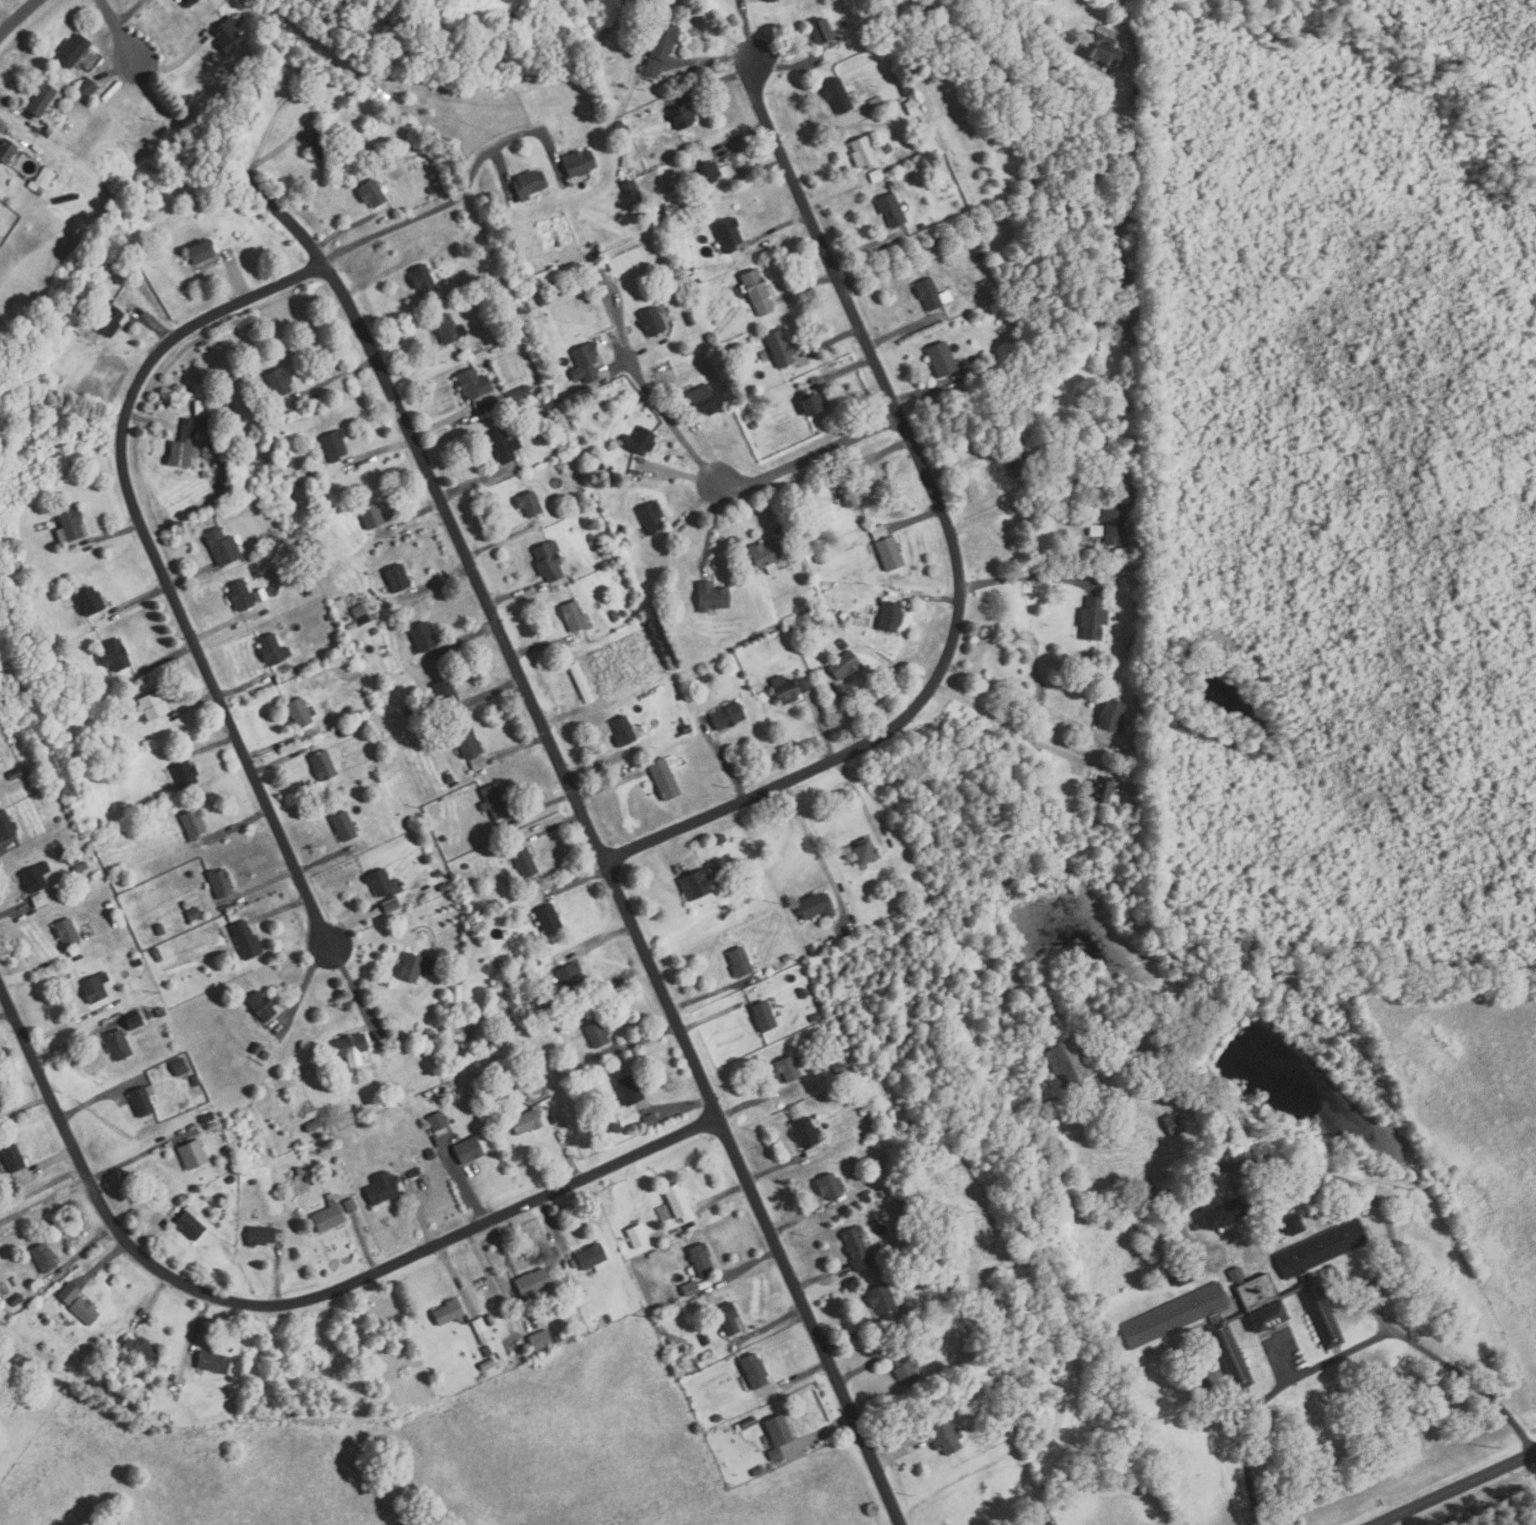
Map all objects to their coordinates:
building: (755, 0)
building: (773, 0)
building: (189, 2)
road: (129, 12)
road: (17, 16)
road: (5, 18)
road: (117, 28)
road: (746, 30)
building: (823, 31)
building: (229, 36)
building: (664, 41)
building: (74, 50)
building: (1103, 50)
road: (714, 58)
road: (176, 63)
road: (788, 65)
road: (117, 69)
building: (652, 69)
road: (713, 84)
building: (87, 86)
building: (908, 87)
building: (839, 95)
building: (42, 98)
road: (285, 101)
building: (877, 102)
road: (14, 107)
building: (913, 108)
building: (685, 117)
road: (3, 125)
building: (622, 127)
road: (530, 129)
road: (816, 130)
road: (741, 139)
road: (1059, 141)
building: (319, 144)
building: (7, 150)
building: (867, 153)
building: (580, 163)
road: (748, 171)
road: (504, 172)
building: (709, 173)
building: (42, 180)
building: (530, 184)
building: (630, 187)
building: (434, 189)
road: (836, 190)
building: (373, 193)
building: (892, 210)
road: (418, 215)
building: (667, 215)
road: (1089, 218)
road: (777, 226)
building: (922, 226)
road: (345, 229)
building: (565, 233)
building: (730, 234)
road: (931, 243)
road: (863, 248)
building: (202, 252)
building: (979, 253)
building: (110, 271)
building: (556, 272)
road: (237, 274)
road: (379, 276)
building: (423, 279)
building: (695, 279)
road: (807, 287)
building: (758, 291)
building: (929, 293)
building: (542, 299)
building: (524, 306)
building: (691, 319)
building: (110, 320)
building: (653, 321)
building: (1121, 322)
road: (151, 323)
building: (449, 329)
road: (903, 330)
building: (713, 337)
road: (830, 343)
road: (647, 347)
building: (781, 348)
building: (689, 350)
building: (1139, 354)
building: (943, 359)
building: (586, 363)
road: (420, 366)
road: (620, 367)
road: (840, 370)
road: (333, 378)
building: (281, 380)
building: (475, 384)
road: (922, 391)
building: (520, 394)
building: (705, 400)
building: (814, 404)
building: (226, 409)
road: (449, 417)
road: (149, 420)
building: (192, 420)
road: (667, 423)
building: (754, 425)
building: (189, 430)
building: (642, 441)
building: (214, 443)
building: (335, 444)
building: (505, 446)
road: (380, 450)
road: (709, 450)
building: (182, 451)
road: (879, 456)
road: (810, 457)
road: (968, 458)
building: (1018, 460)
building: (222, 463)
road: (669, 470)
building: (206, 473)
building: (1138, 476)
road: (469, 483)
building: (852, 494)
building: (1139, 498)
building: (530, 502)
road: (752, 508)
road: (1015, 511)
road: (417, 514)
building: (372, 515)
building: (650, 516)
road: (917, 517)
building: (72, 522)
building: (1116, 523)
road: (709, 528)
building: (621, 529)
building: (880, 531)
road: (111, 535)
building: (1136, 537)
road: (499, 542)
road: (952, 542)
building: (223, 546)
building: (603, 546)
building: (770, 552)
building: (891, 552)
building: (824, 556)
building: (550, 560)
road: (159, 563)
road: (191, 574)
building: (399, 577)
road: (1025, 577)
road: (439, 582)
building: (308, 590)
road: (514, 593)
building: (241, 594)
building: (54, 596)
building: (713, 596)
road: (926, 596)
building: (91, 600)
road: (131, 602)
building: (360, 610)
building: (624, 612)
building: (575, 615)
building: (615, 615)
building: (892, 615)
building: (329, 616)
building: (1094, 617)
building: (364, 619)
road: (226, 625)
building: (374, 630)
building: (424, 635)
road: (469, 636)
building: (844, 642)
road: (537, 646)
building: (272, 649)
building: (117, 654)
road: (166, 659)
building: (846, 664)
building: (303, 667)
building: (582, 682)
road: (244, 686)
building: (790, 687)
building: (446, 691)
road: (494, 692)
road: (1022, 697)
road: (195, 702)
building: (154, 704)
road: (843, 705)
building: (349, 709)
building: (300, 711)
building: (1112, 713)
building: (730, 715)
road: (561, 716)
road: (822, 726)
building: (348, 730)
building: (624, 730)
road: (1026, 734)
building: (470, 742)
road: (217, 744)
road: (269, 748)
road: (519, 748)
road: (722, 757)
road: (281, 760)
building: (478, 763)
building: (324, 765)
road: (590, 767)
building: (186, 772)
building: (14, 774)
building: (450, 778)
building: (665, 778)
road: (609, 786)
building: (1103, 789)
road: (858, 798)
building: (496, 801)
road: (542, 804)
building: (1135, 806)
building: (95, 821)
building: (194, 823)
road: (238, 825)
building: (344, 825)
building: (6, 826)
road: (556, 826)
building: (393, 830)
building: (444, 838)
building: (720, 839)
road: (813, 840)
road: (8, 846)
road: (669, 850)
building: (865, 850)
road: (602, 856)
road: (321, 861)
building: (525, 862)
building: (467, 865)
building: (80, 868)
building: (455, 870)
building: (438, 873)
building: (122, 874)
building: (36, 877)
road: (577, 881)
building: (222, 882)
building: (384, 882)
building: (696, 884)
building: (445, 886)
road: (258, 888)
building: (40, 899)
building: (110, 903)
building: (391, 904)
building: (186, 905)
building: (817, 905)
road: (280, 909)
road: (14, 910)
building: (195, 913)
building: (550, 918)
building: (116, 919)
road: (349, 922)
building: (161, 928)
building: (465, 929)
building: (67, 932)
building: (247, 939)
road: (370, 939)
road: (596, 940)
building: (157, 951)
building: (787, 958)
building: (742, 961)
building: (539, 963)
building: (223, 965)
building: (417, 965)
road: (39, 967)
building: (571, 976)
road: (302, 984)
building: (95, 987)
road: (354, 990)
road: (711, 992)
building: (803, 993)
building: (262, 1005)
building: (161, 1011)
road: (714, 1015)
road: (6, 1016)
building: (766, 1016)
building: (815, 1017)
building: (135, 1021)
road: (57, 1029)
building: (599, 1032)
road: (637, 1041)
road: (73, 1043)
building: (118, 1045)
building: (353, 1046)
building: (257, 1047)
building: (266, 1055)
building: (1070, 1062)
building: (180, 1066)
building: (837, 1067)
building: (789, 1068)
building: (196, 1080)
building: (472, 1088)
building: (631, 1089)
building: (399, 1092)
building: (429, 1093)
road: (99, 1096)
building: (143, 1100)
road: (758, 1100)
road: (687, 1105)
road: (25, 1107)
building: (0, 1110)
building: (864, 1111)
building: (209, 1117)
building: (653, 1118)
building: (439, 1121)
building: (527, 1122)
building: (1174, 1123)
building: (213, 1126)
building: (617, 1128)
building: (806, 1131)
building: (470, 1150)
building: (813, 1151)
building: (194, 1154)
building: (13, 1157)
road: (132, 1158)
road: (570, 1158)
road: (46, 1163)
building: (233, 1164)
road: (775, 1167)
building: (414, 1172)
road: (462, 1178)
building: (232, 1179)
building: (254, 1181)
building: (830, 1185)
road: (40, 1186)
building: (383, 1187)
road: (725, 1193)
building: (869, 1199)
road: (44, 1201)
building: (680, 1202)
building: (351, 1205)
building: (1224, 1213)
road: (418, 1215)
building: (328, 1216)
road: (805, 1219)
building: (916, 1220)
building: (191, 1222)
road: (553, 1222)
building: (1294, 1224)
road: (153, 1230)
building: (261, 1235)
building: (639, 1236)
road: (363, 1244)
road: (502, 1246)
building: (858, 1247)
road: (82, 1251)
building: (45, 1256)
building: (592, 1256)
building: (702, 1258)
road: (743, 1267)
road: (97, 1268)
road: (278, 1268)
building: (1184, 1273)
building: (1237, 1273)
road: (821, 1277)
road: (457, 1278)
building: (534, 1282)
building: (692, 1288)
building: (17, 1299)
building: (885, 1299)
road: (290, 1301)
building: (1256, 1301)
road: (152, 1302)
building: (86, 1310)
building: (451, 1312)
building: (609, 1318)
building: (730, 1318)
building: (888, 1318)
building: (492, 1320)
building: (47, 1321)
road: (776, 1323)
road: (199, 1325)
building: (483, 1331)
road: (849, 1336)
building: (558, 1338)
building: (706, 1339)
building: (540, 1340)
building: (886, 1342)
building: (143, 1350)
building: (678, 1350)
building: (487, 1351)
road: (1346, 1353)
building: (214, 1361)
building: (702, 1363)
road: (866, 1368)
building: (756, 1370)
building: (906, 1370)
road: (806, 1374)
building: (181, 1380)
building: (173, 1417)
building: (718, 1418)
building: (780, 1429)
road: (820, 1433)
building: (945, 1435)
power tower: (1494, 1450)
road: (896, 1451)
building: (776, 1454)
building: (758, 1471)
road: (1454, 1490)

